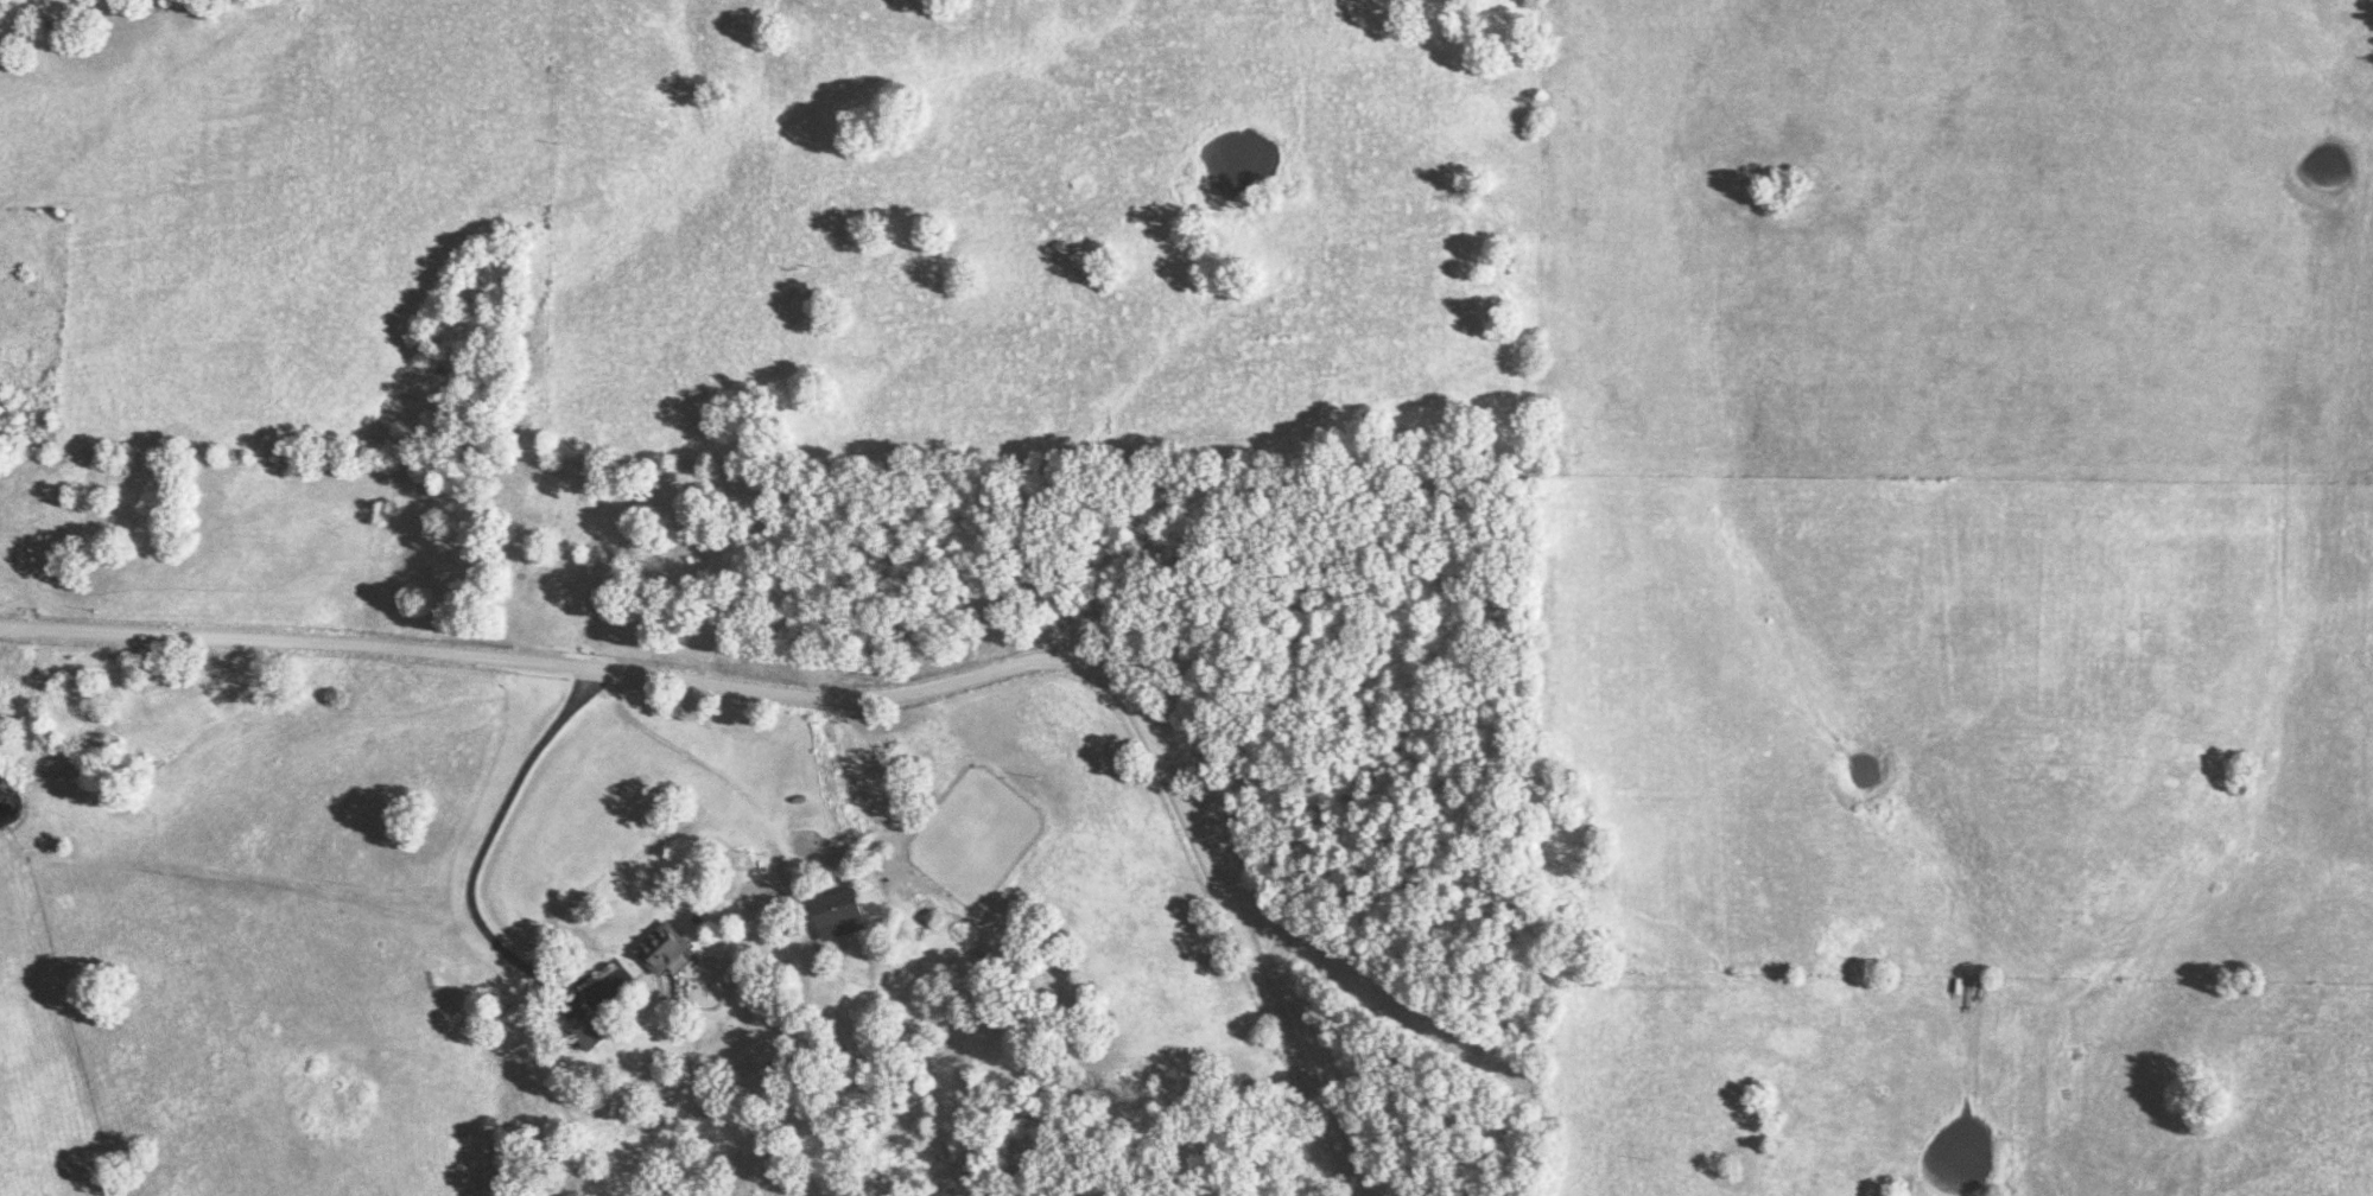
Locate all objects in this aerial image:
road: (1020, 364)
road: (842, 710)
road: (464, 874)
building: (833, 917)
building: (656, 949)
building: (585, 1033)

